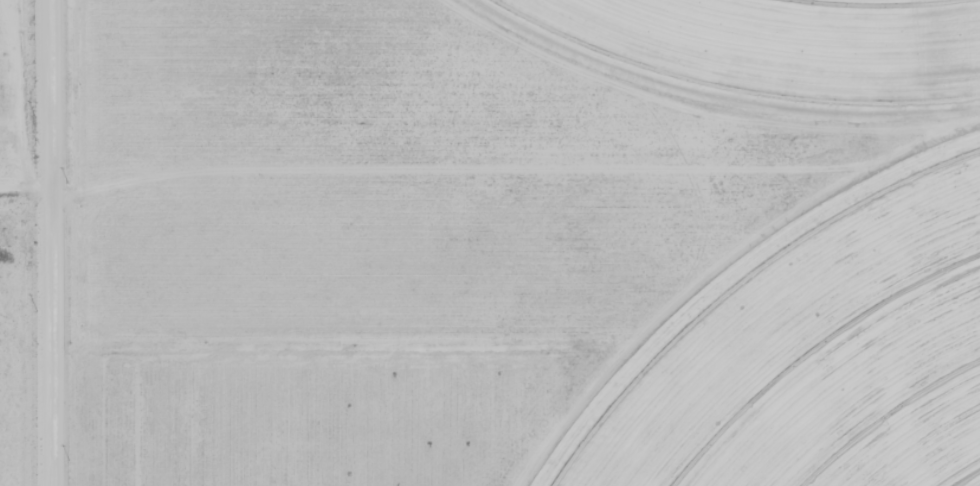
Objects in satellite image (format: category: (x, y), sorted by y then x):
crop: (777, 49)
road: (490, 165)
road: (50, 243)
crop: (818, 358)

